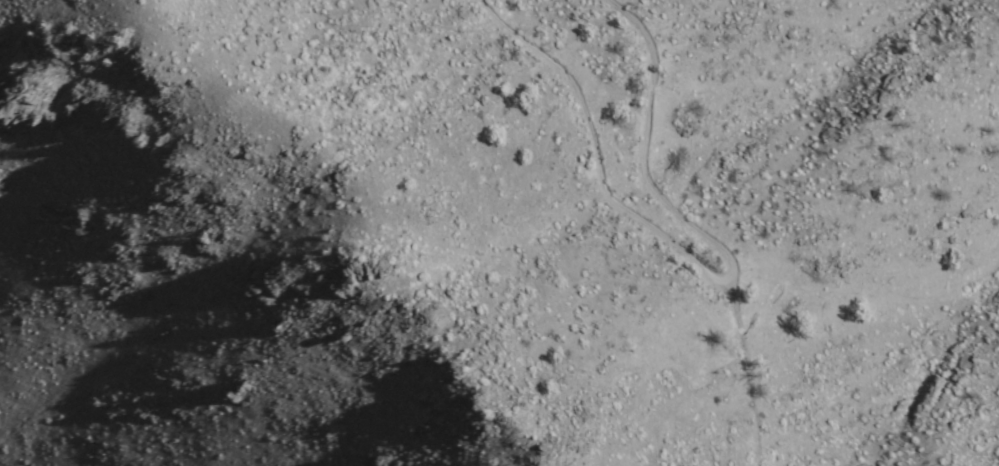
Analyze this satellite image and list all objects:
road: (698, 265)

